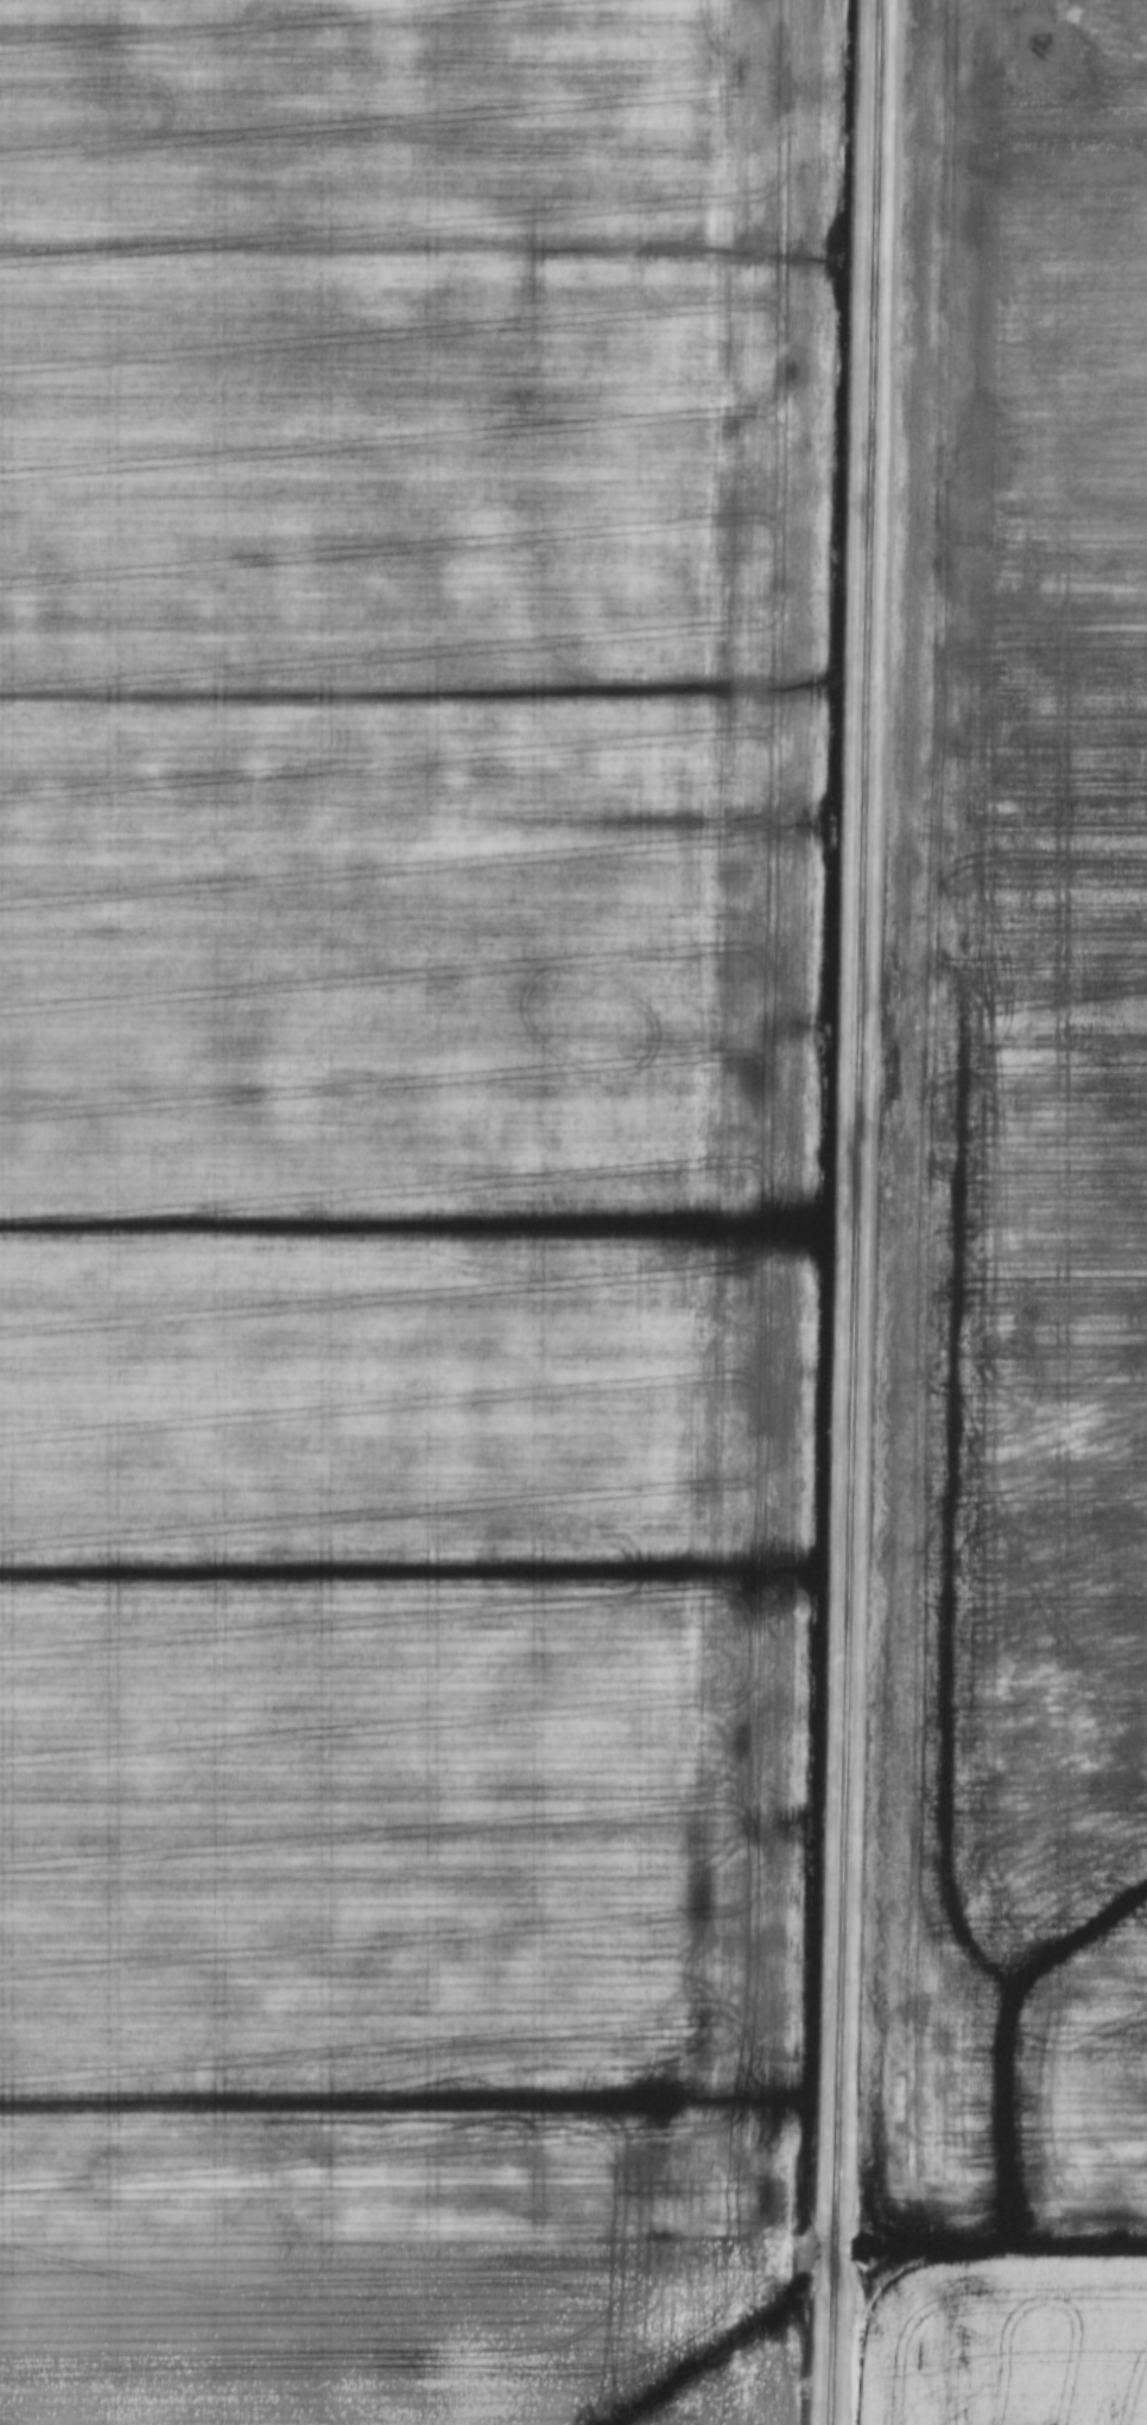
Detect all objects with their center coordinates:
crop: (1013, 1145)
crop: (407, 1200)
road: (851, 1212)
crop: (1002, 2341)

